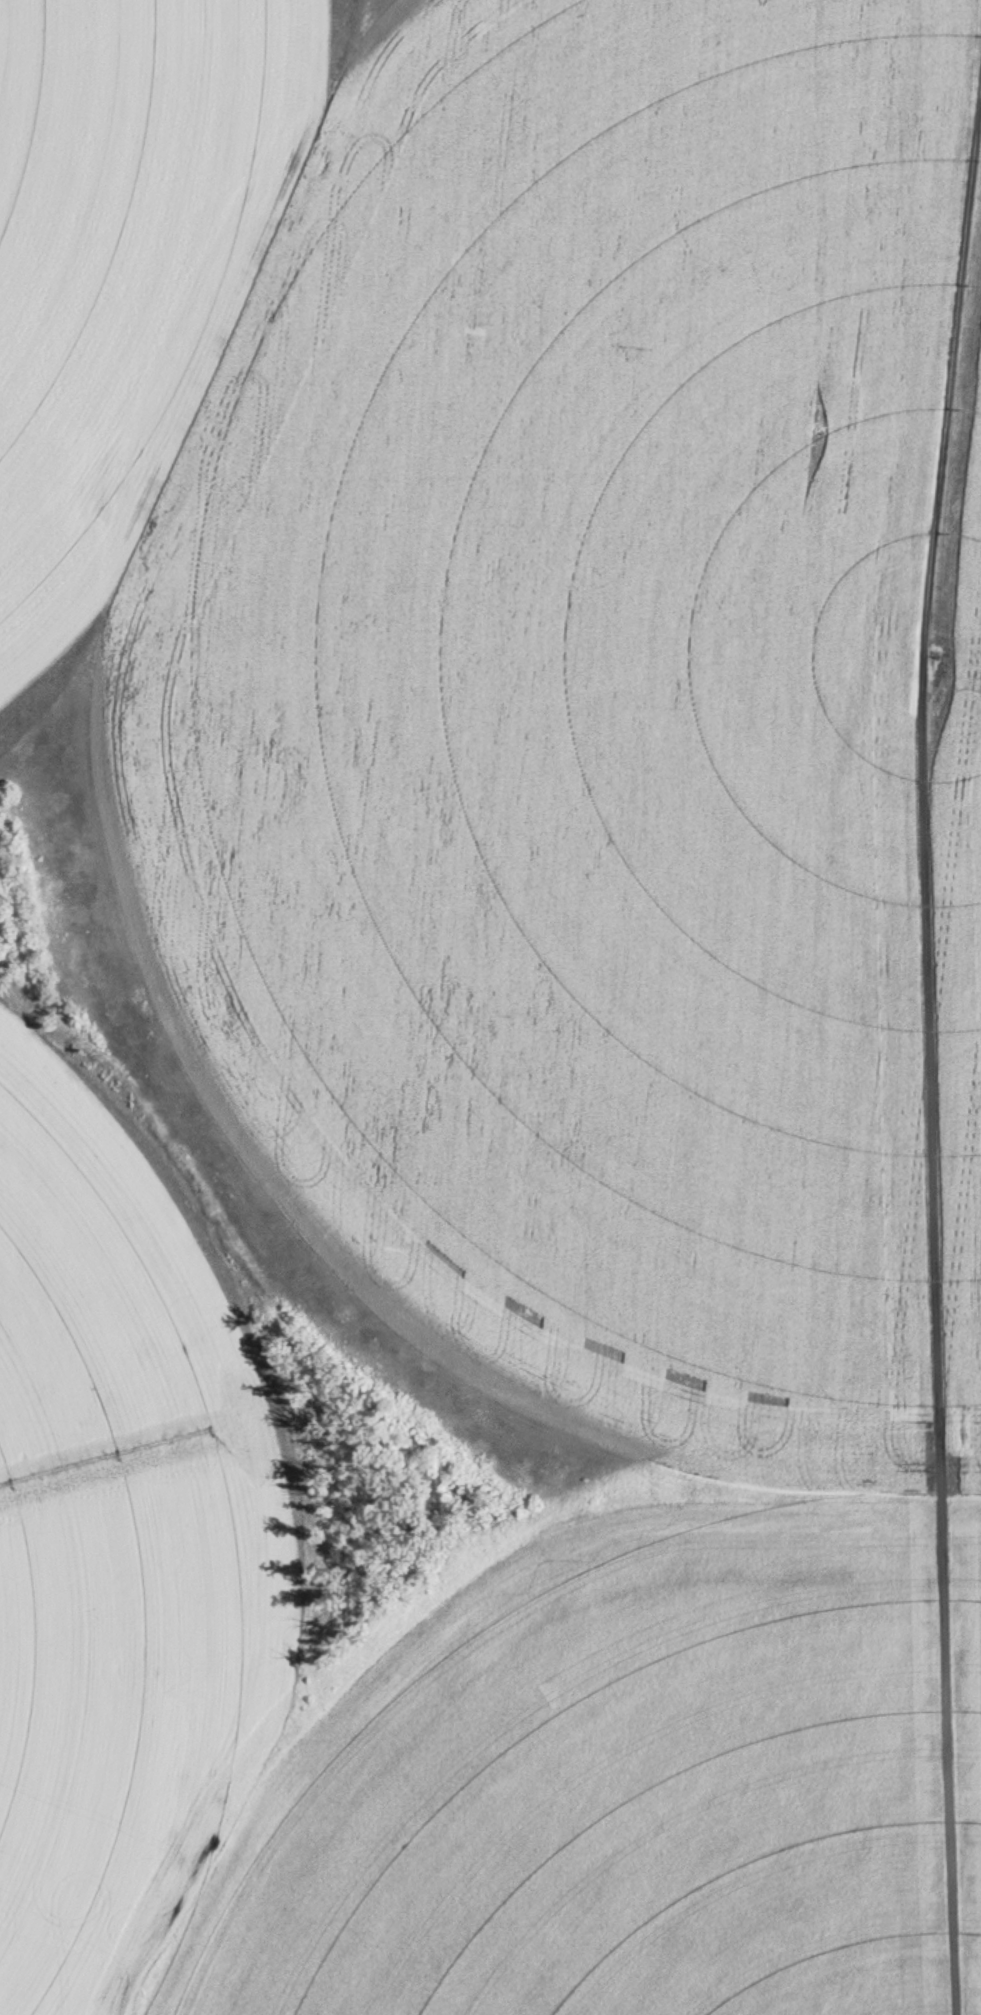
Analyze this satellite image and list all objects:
wastewater plant: (490, 1007)

